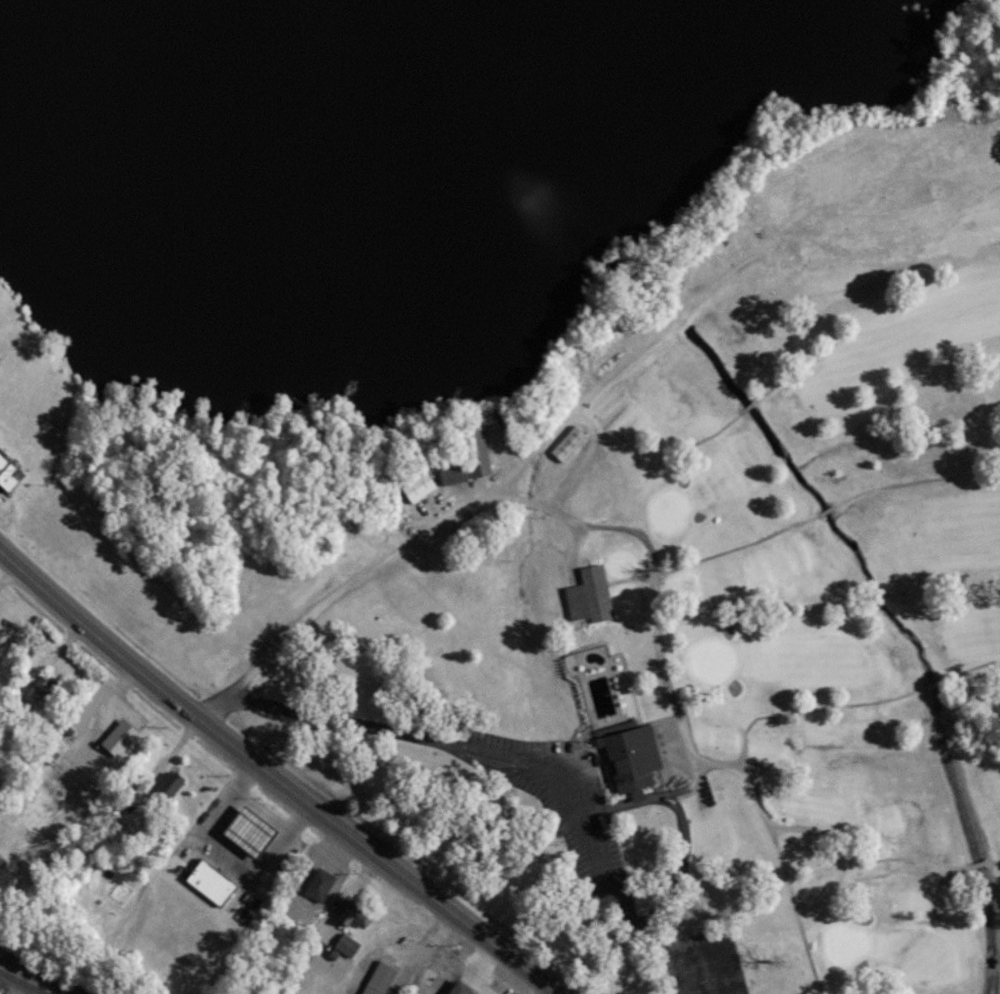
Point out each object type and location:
building: (567, 443)
building: (476, 452)
building: (451, 471)
road: (517, 473)
building: (8, 475)
building: (416, 486)
road: (774, 534)
road: (9, 577)
building: (589, 596)
park: (708, 602)
road: (47, 665)
building: (43, 692)
road: (679, 711)
building: (117, 738)
road: (444, 740)
building: (629, 759)
road: (270, 780)
building: (166, 786)
parking lot: (578, 817)
building: (124, 821)
building: (245, 833)
road: (227, 851)
road: (882, 857)
road: (779, 860)
building: (203, 882)
building: (318, 885)
road: (339, 898)
road: (293, 900)
building: (352, 913)
road: (435, 935)
building: (345, 944)
road: (374, 956)
road: (402, 972)
building: (378, 978)
railway: (23, 982)
building: (457, 989)

